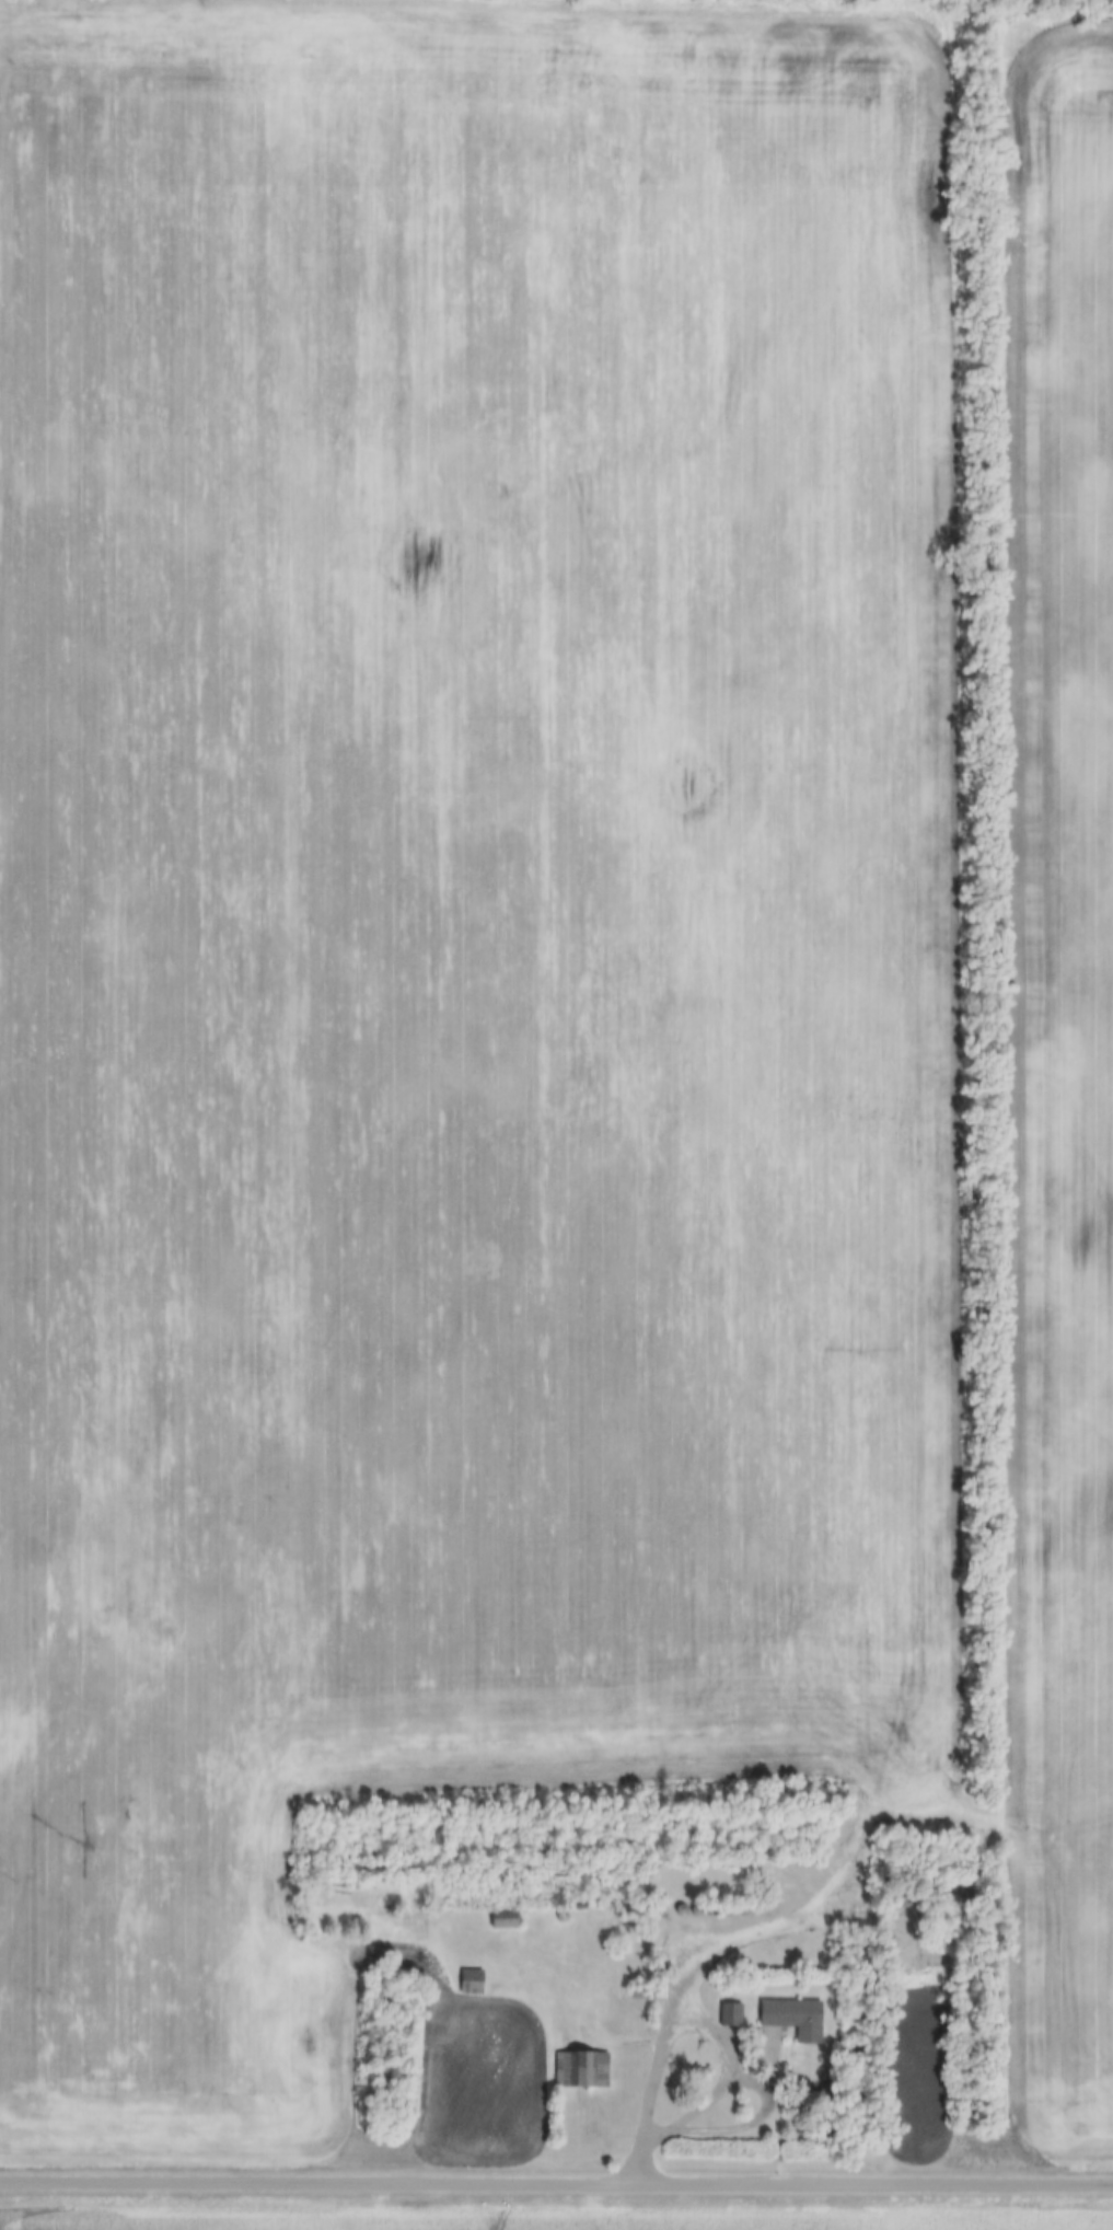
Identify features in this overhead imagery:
building: (497, 1918)
building: (466, 1980)
road: (675, 2002)
building: (727, 2013)
building: (787, 2018)
building: (577, 2070)
road: (556, 2182)

